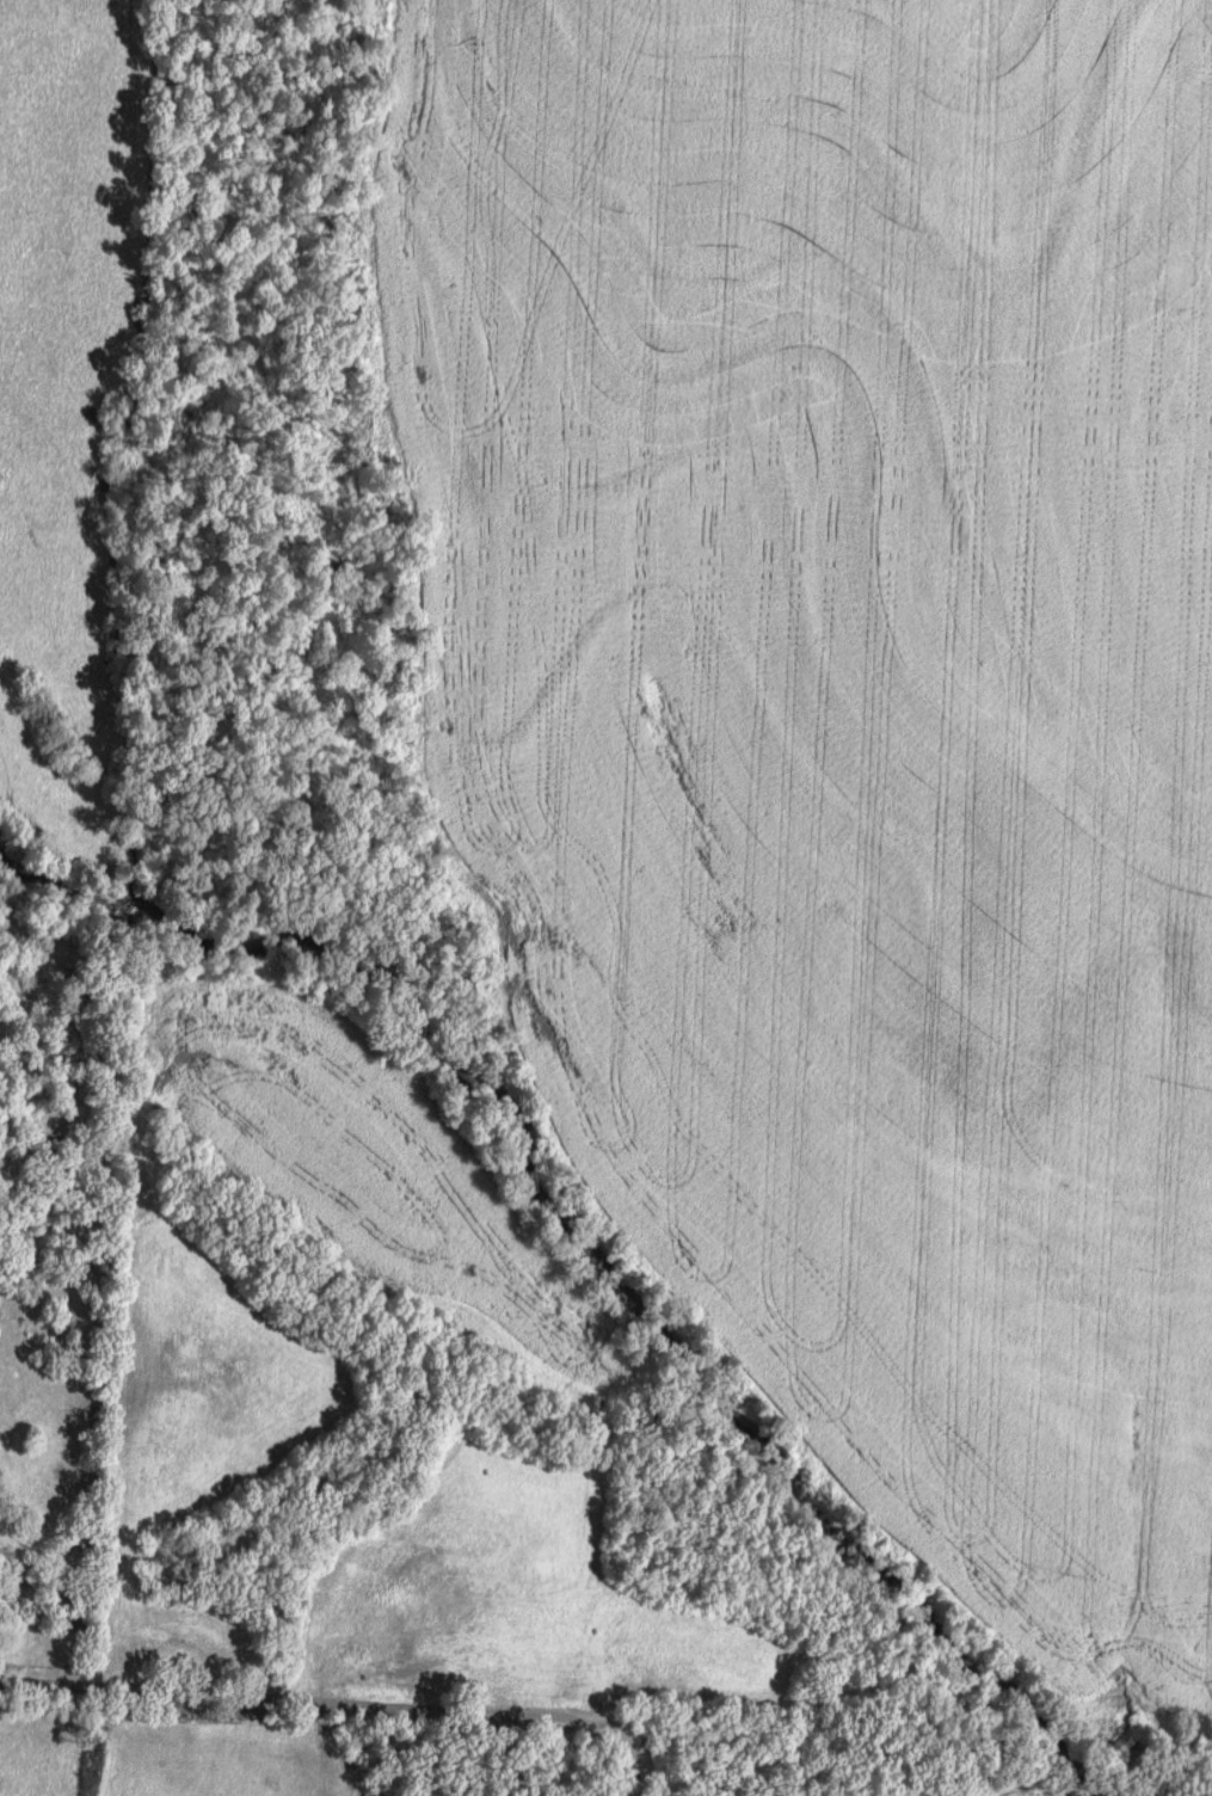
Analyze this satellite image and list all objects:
road: (148, 1389)
road: (352, 1702)

